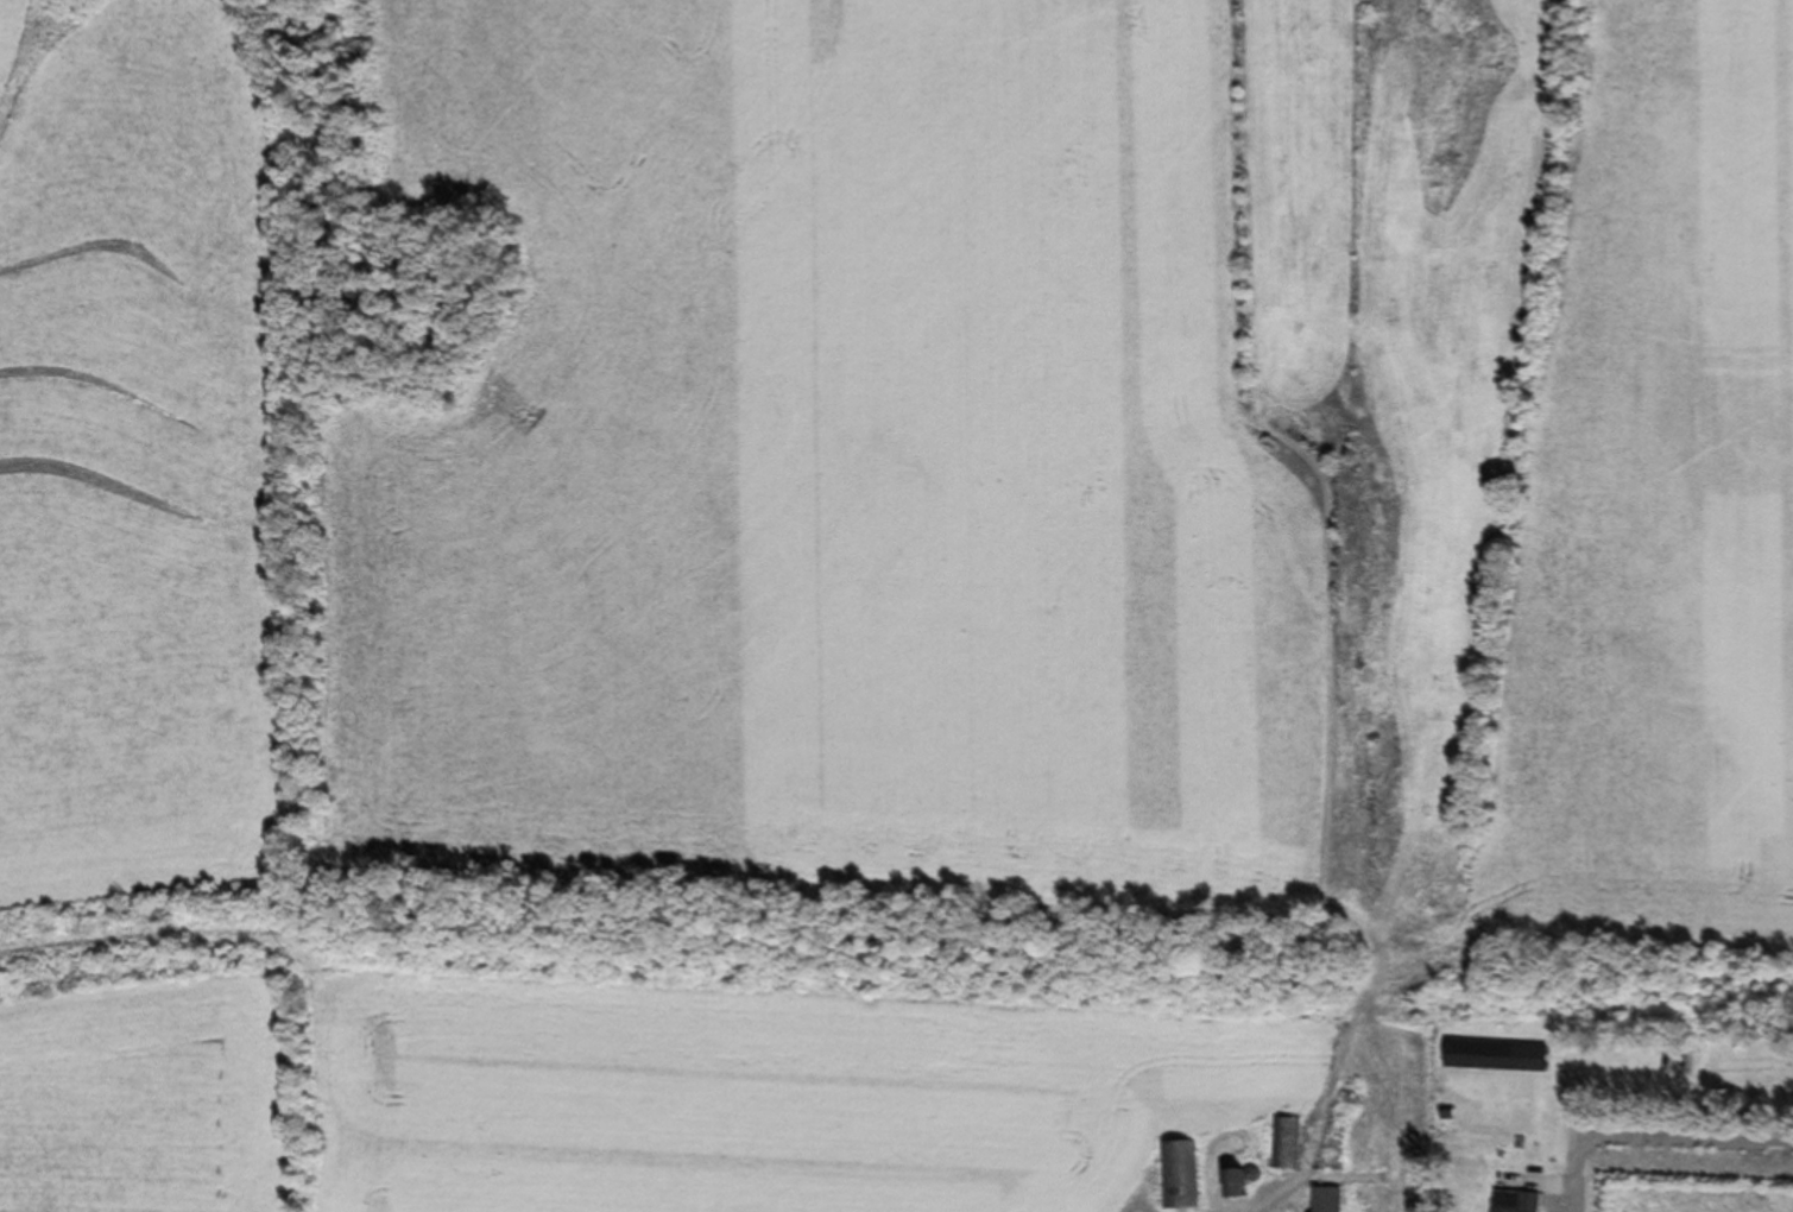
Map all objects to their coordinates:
road: (1318, 621)
building: (1494, 1058)
building: (1672, 1065)
road: (1652, 1137)
building: (1287, 1144)
building: (1178, 1175)
building: (1231, 1183)
building: (1324, 1200)
building: (1513, 1201)

